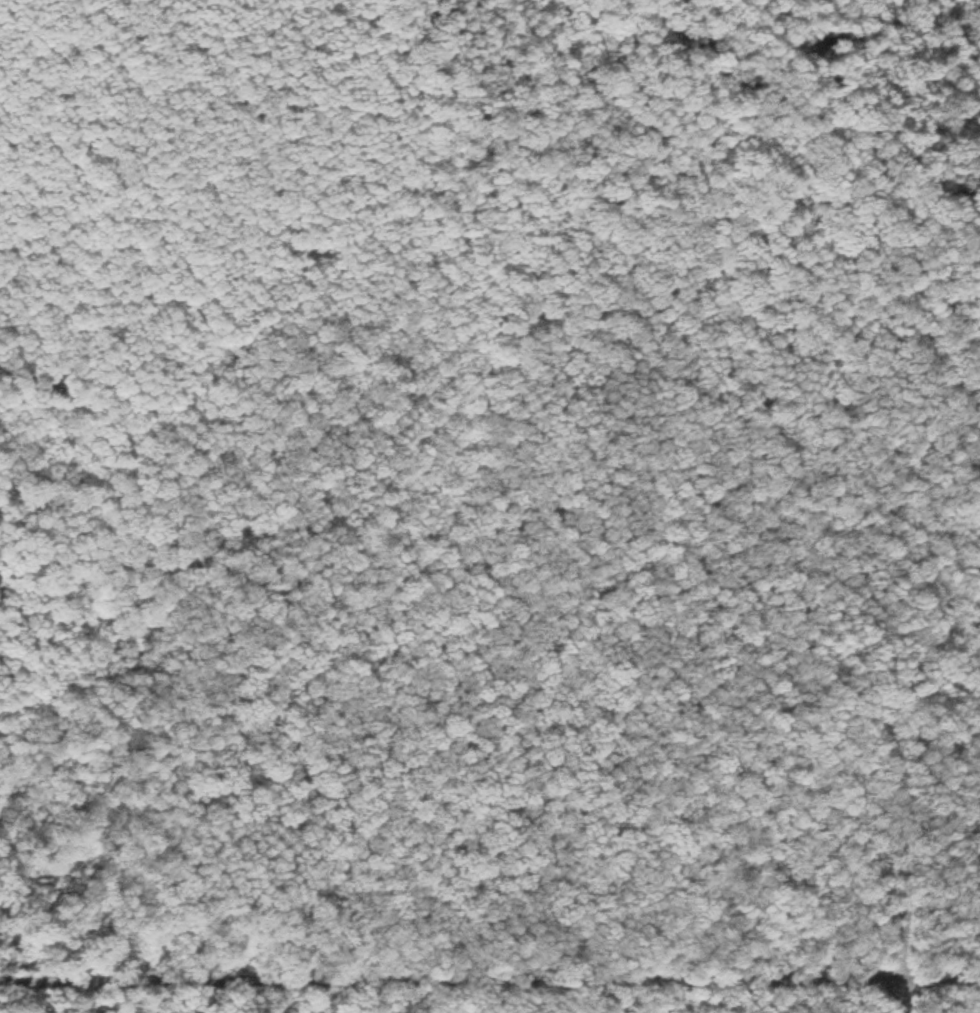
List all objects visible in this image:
road: (926, 812)
road: (489, 978)

